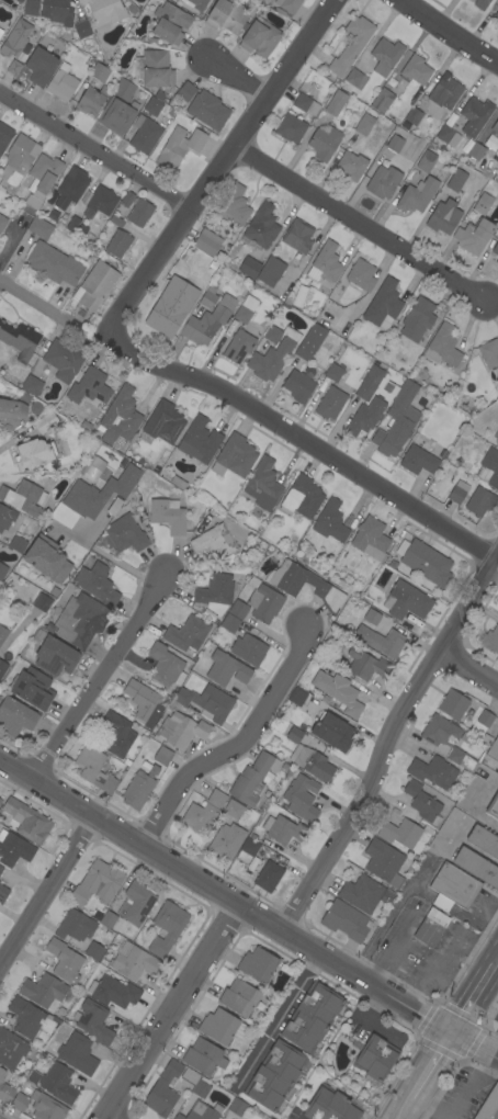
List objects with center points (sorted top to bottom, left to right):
building: (20, 0)
building: (195, 3)
building: (480, 3)
building: (287, 4)
building: (31, 7)
building: (131, 8)
building: (57, 11)
building: (103, 11)
building: (496, 14)
building: (227, 16)
building: (169, 23)
building: (81, 29)
road: (450, 30)
building: (0, 31)
building: (20, 37)
building: (260, 38)
building: (44, 39)
building: (349, 48)
building: (385, 56)
building: (39, 66)
building: (13, 67)
building: (154, 69)
building: (416, 70)
building: (99, 72)
road: (236, 76)
building: (355, 79)
building: (61, 82)
building: (123, 89)
building: (185, 91)
building: (444, 92)
building: (158, 94)
building: (92, 100)
building: (382, 100)
building: (335, 103)
building: (305, 104)
building: (152, 106)
building: (207, 110)
building: (475, 115)
building: (115, 116)
building: (412, 116)
building: (191, 122)
building: (363, 125)
building: (495, 126)
building: (291, 127)
building: (145, 134)
building: (444, 134)
building: (4, 135)
building: (482, 137)
building: (324, 143)
building: (490, 143)
building: (394, 144)
building: (178, 147)
building: (496, 148)
road: (92, 150)
building: (476, 151)
building: (18, 160)
road: (217, 160)
building: (426, 161)
building: (351, 165)
building: (497, 170)
building: (45, 171)
building: (456, 180)
building: (383, 181)
building: (73, 184)
building: (417, 195)
building: (127, 199)
building: (34, 200)
building: (100, 202)
building: (480, 204)
building: (234, 205)
building: (139, 212)
building: (53, 214)
building: (443, 216)
building: (115, 221)
building: (2, 222)
building: (72, 223)
road: (355, 224)
building: (262, 226)
building: (39, 228)
building: (474, 235)
building: (298, 236)
building: (207, 242)
building: (117, 244)
building: (495, 249)
building: (327, 262)
building: (54, 263)
building: (249, 267)
building: (271, 271)
building: (361, 274)
building: (94, 286)
building: (174, 293)
building: (298, 295)
building: (208, 296)
road: (37, 303)
building: (383, 305)
building: (245, 309)
building: (169, 316)
building: (336, 318)
building: (417, 319)
building: (208, 321)
building: (271, 334)
building: (20, 339)
building: (310, 341)
building: (238, 346)
building: (442, 347)
building: (489, 353)
building: (273, 357)
building: (64, 359)
building: (333, 372)
building: (31, 385)
building: (298, 386)
building: (89, 387)
building: (330, 403)
building: (391, 409)
building: (11, 415)
building: (365, 416)
building: (120, 417)
building: (46, 422)
building: (163, 422)
building: (86, 425)
building: (496, 437)
building: (199, 441)
road: (298, 444)
building: (34, 453)
building: (442, 453)
building: (234, 456)
building: (419, 461)
building: (92, 467)
building: (489, 467)
building: (178, 482)
building: (263, 485)
building: (99, 491)
building: (456, 491)
building: (24, 497)
building: (302, 497)
building: (479, 501)
building: (114, 506)
building: (168, 515)
building: (5, 517)
building: (330, 521)
building: (124, 534)
building: (219, 538)
building: (371, 539)
building: (16, 544)
building: (47, 558)
building: (425, 562)
building: (2, 572)
building: (97, 583)
building: (287, 587)
building: (215, 590)
building: (406, 601)
building: (42, 602)
building: (264, 603)
building: (238, 609)
building: (497, 613)
building: (372, 617)
building: (80, 620)
building: (229, 623)
building: (2, 633)
building: (186, 633)
building: (490, 640)
building: (381, 641)
building: (248, 649)
building: (55, 656)
building: (365, 664)
building: (166, 666)
building: (2, 667)
road: (468, 667)
building: (226, 669)
road: (100, 678)
building: (33, 688)
building: (338, 691)
building: (296, 697)
building: (207, 701)
building: (144, 703)
building: (453, 704)
building: (15, 716)
building: (485, 719)
building: (302, 727)
building: (180, 731)
building: (440, 731)
building: (332, 732)
building: (116, 734)
road: (384, 738)
building: (486, 739)
road: (235, 747)
building: (493, 749)
building: (162, 756)
building: (308, 758)
building: (461, 759)
building: (497, 760)
building: (93, 768)
building: (432, 771)
building: (251, 780)
building: (139, 788)
building: (468, 792)
building: (301, 798)
building: (216, 799)
building: (0, 800)
building: (422, 802)
building: (493, 807)
building: (233, 810)
building: (199, 816)
building: (27, 821)
building: (283, 829)
building: (444, 832)
building: (405, 833)
building: (226, 840)
building: (484, 840)
building: (13, 848)
building: (247, 850)
building: (384, 862)
building: (477, 867)
building: (1, 868)
building: (268, 877)
building: (97, 883)
road: (44, 888)
building: (453, 888)
building: (3, 893)
building: (361, 893)
building: (135, 903)
road: (247, 911)
building: (107, 919)
building: (346, 920)
building: (75, 926)
building: (167, 927)
building: (431, 927)
building: (94, 951)
building: (66, 961)
building: (133, 962)
road: (496, 964)
building: (257, 965)
building: (44, 991)
building: (113, 992)
building: (239, 997)
road: (475, 999)
road: (169, 1011)
building: (312, 1017)
building: (30, 1018)
road: (278, 1018)
building: (92, 1021)
building: (222, 1027)
building: (11, 1049)
building: (77, 1053)
building: (203, 1056)
building: (375, 1058)
road: (434, 1064)
building: (2, 1074)
building: (274, 1075)
building: (58, 1083)
road: (475, 1086)
building: (201, 1087)
building: (163, 1089)
building: (7, 1093)
building: (489, 1105)
building: (330, 1106)
building: (46, 1107)
building: (237, 1107)
road: (406, 1108)
road: (430, 1108)
building: (201, 1111)
road: (106, 1117)
building: (270, 1118)

